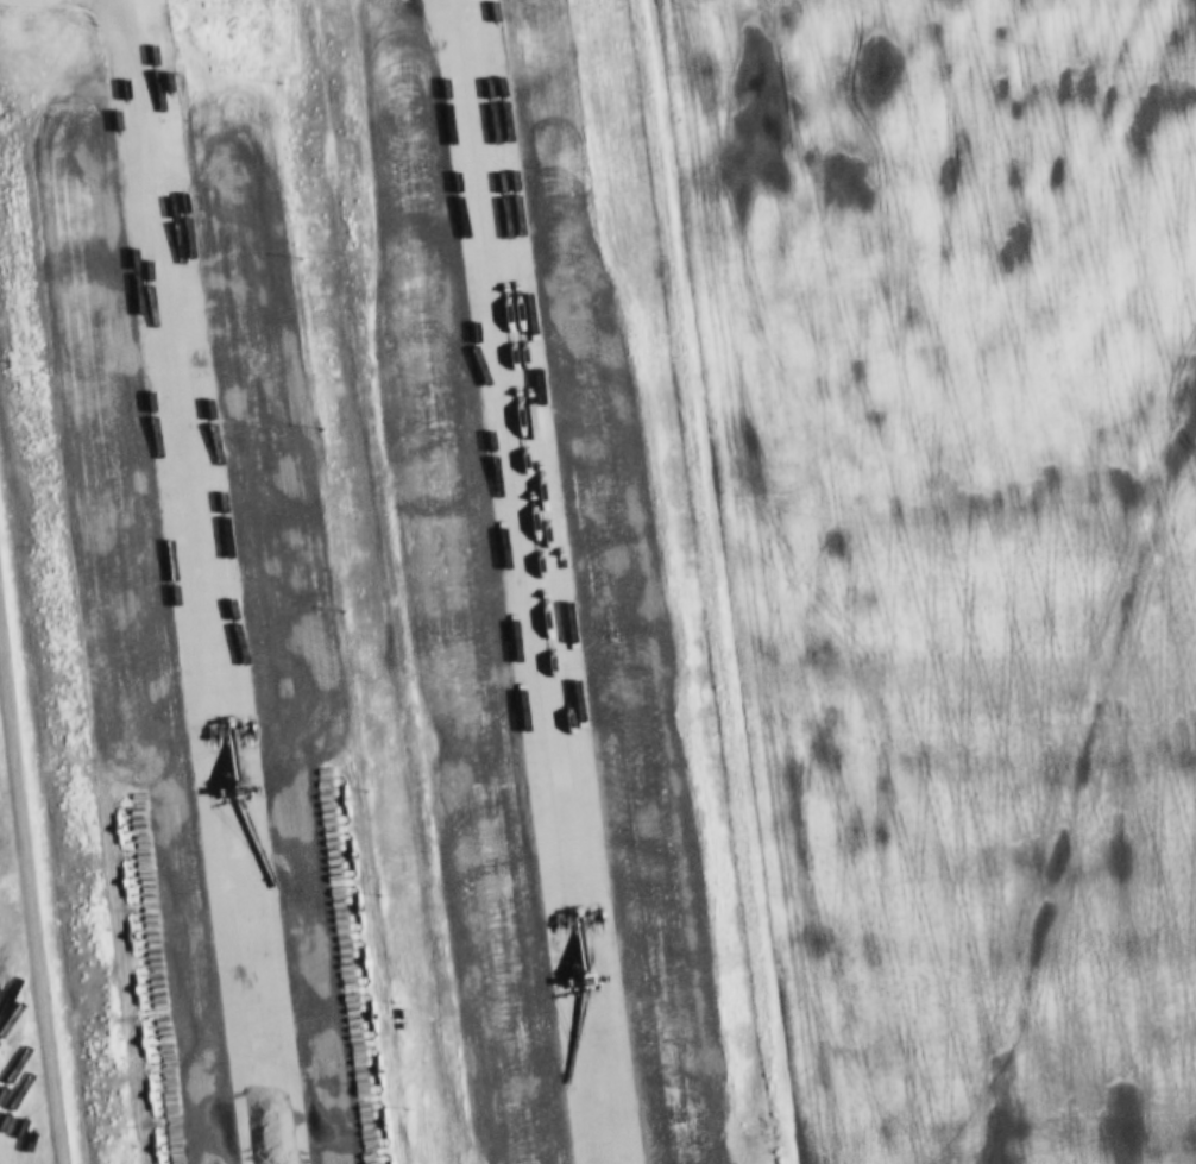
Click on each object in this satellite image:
crop: (1022, 573)
road: (203, 574)
road: (31, 900)

